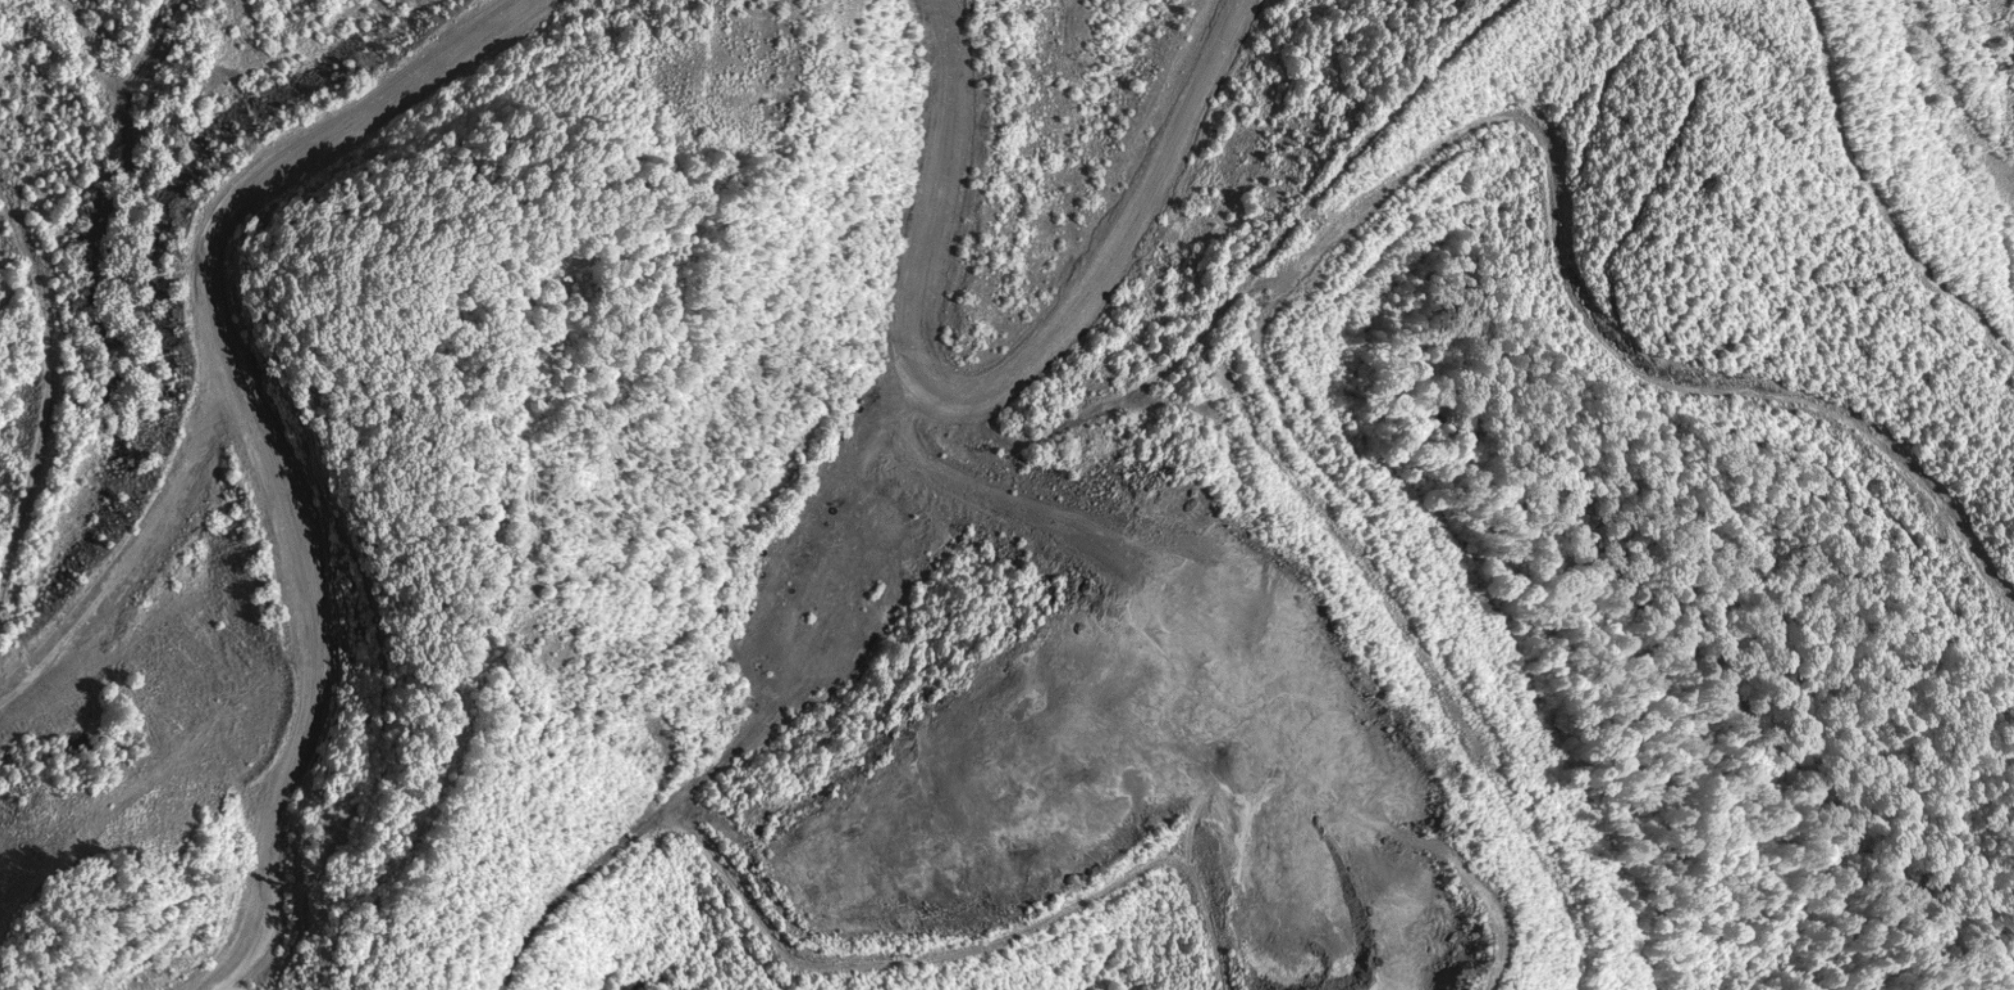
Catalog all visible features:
quarry: (1007, 495)

